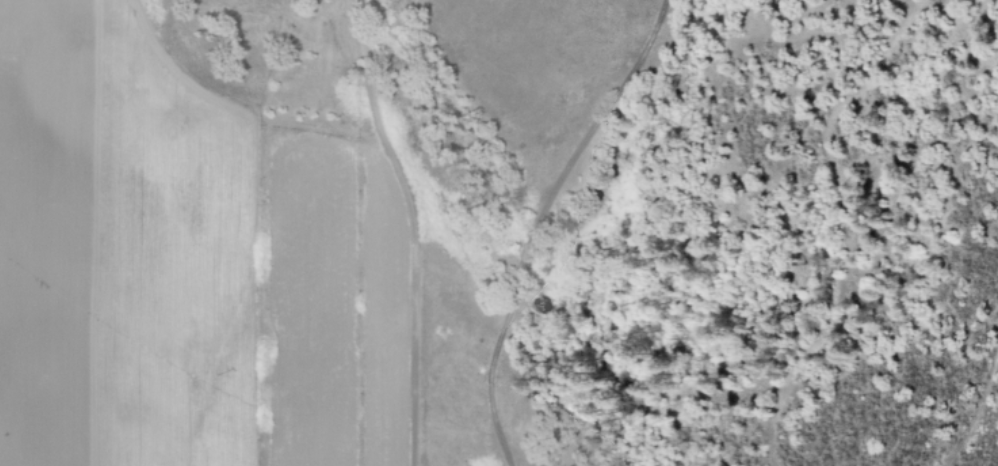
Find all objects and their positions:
road: (530, 221)
road: (408, 228)

